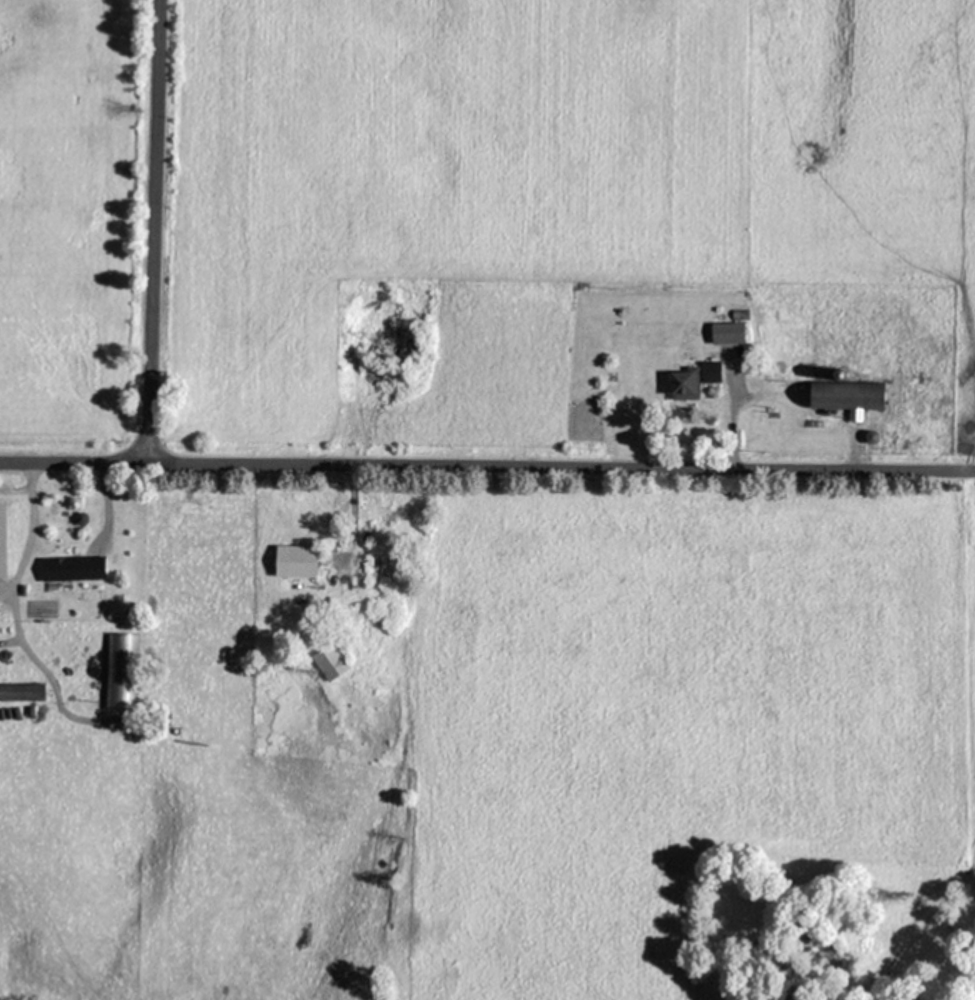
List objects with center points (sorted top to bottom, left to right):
road: (151, 229)
building: (728, 331)
building: (710, 370)
building: (685, 382)
building: (849, 394)
road: (730, 421)
road: (72, 458)
road: (560, 462)
road: (103, 487)
road: (28, 492)
road: (350, 502)
building: (9, 517)
building: (297, 559)
building: (73, 566)
building: (121, 643)
building: (330, 661)
building: (22, 690)

